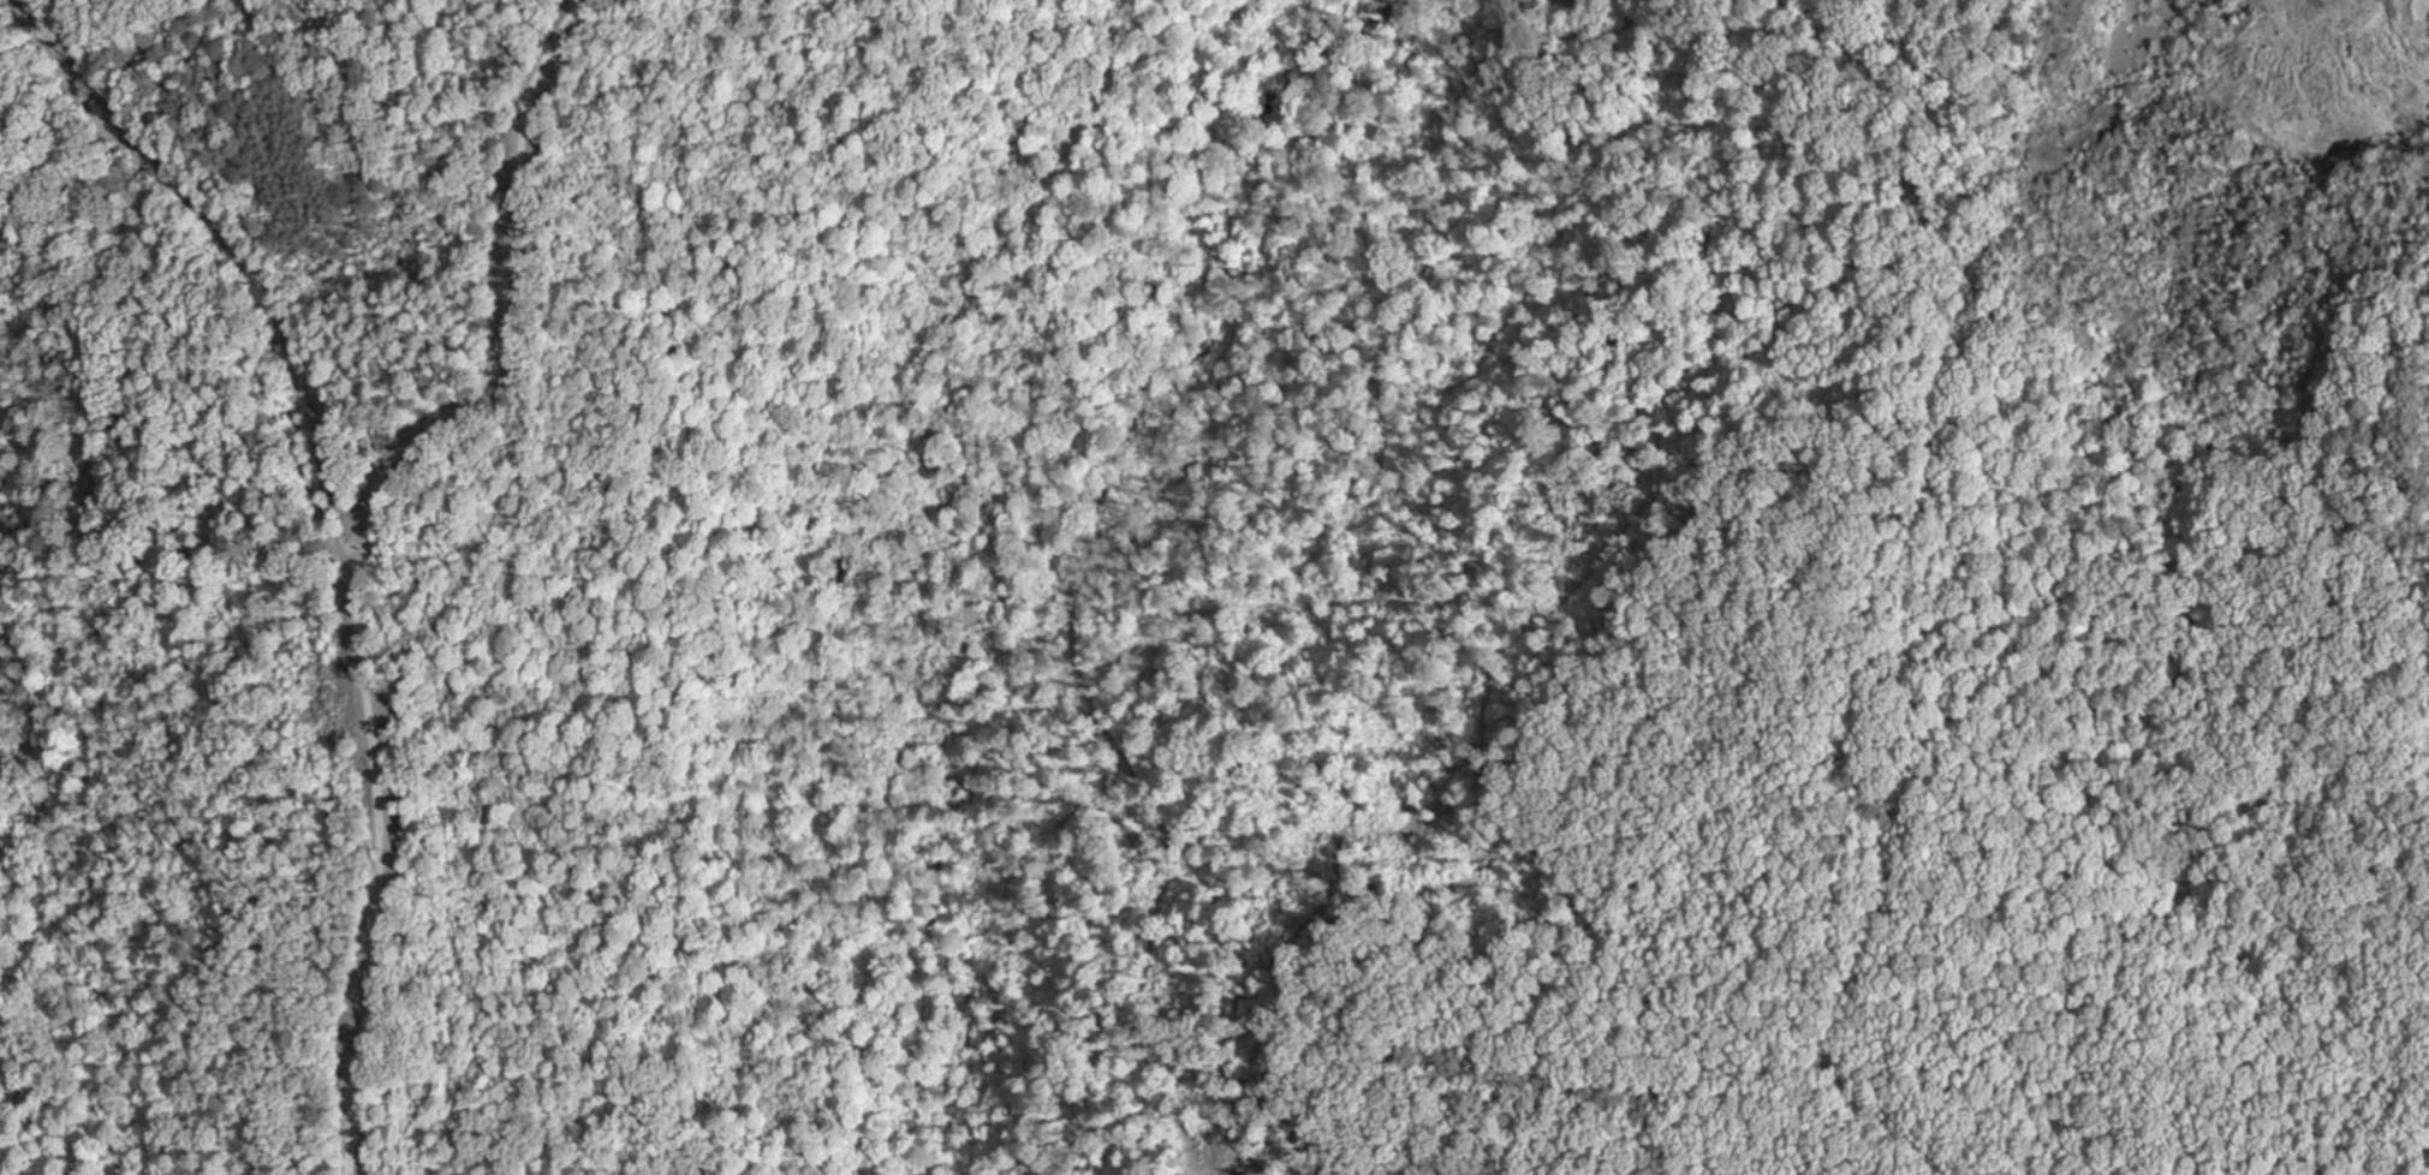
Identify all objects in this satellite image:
road: (236, 254)
road: (358, 554)

